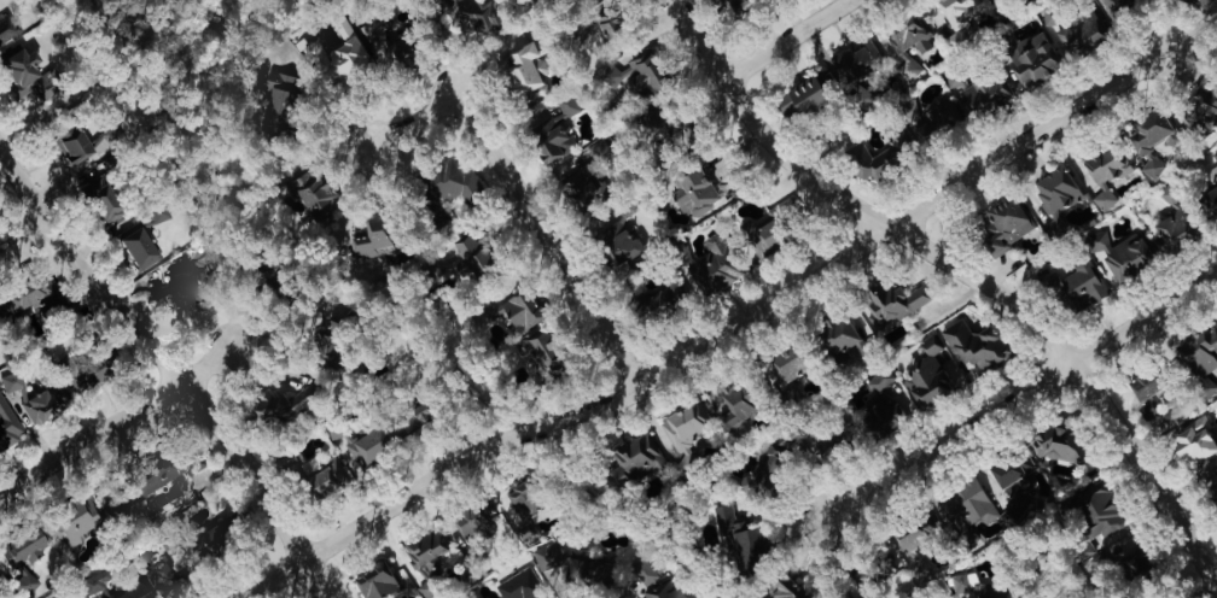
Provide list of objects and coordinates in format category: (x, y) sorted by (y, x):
building: (733, 2)
building: (1201, 2)
building: (1116, 5)
building: (468, 13)
building: (956, 18)
building: (604, 23)
building: (1079, 33)
building: (909, 35)
building: (383, 39)
road: (784, 39)
building: (334, 52)
building: (856, 57)
building: (1033, 59)
building: (524, 69)
building: (19, 71)
building: (991, 94)
building: (800, 95)
building: (279, 98)
building: (567, 104)
building: (1199, 109)
building: (931, 116)
road: (409, 123)
building: (1147, 130)
building: (552, 143)
building: (70, 145)
building: (1215, 153)
building: (863, 157)
building: (1105, 171)
building: (450, 182)
building: (580, 184)
building: (1206, 189)
building: (694, 190)
building: (99, 201)
building: (325, 212)
building: (1058, 221)
building: (1006, 223)
road: (19, 229)
building: (1171, 230)
building: (768, 236)
building: (372, 238)
road: (547, 240)
building: (619, 242)
building: (136, 248)
building: (1120, 253)
building: (460, 257)
building: (711, 268)
road: (963, 274)
building: (1077, 285)
building: (21, 292)
building: (173, 293)
building: (892, 301)
building: (518, 311)
building: (1, 316)
building: (835, 335)
road: (714, 336)
building: (974, 344)
building: (540, 353)
building: (1203, 354)
building: (786, 363)
building: (85, 367)
road: (170, 369)
building: (933, 375)
building: (881, 377)
building: (1143, 385)
road: (1018, 397)
building: (42, 404)
building: (727, 405)
building: (268, 406)
building: (880, 412)
road: (115, 423)
building: (8, 424)
building: (682, 430)
building: (1194, 441)
building: (369, 444)
building: (1055, 444)
building: (634, 461)
building: (158, 471)
building: (325, 479)
building: (1017, 479)
building: (1216, 494)
building: (967, 502)
building: (523, 506)
building: (1099, 514)
building: (473, 516)
building: (74, 520)
building: (904, 530)
building: (738, 533)
building: (211, 541)
building: (22, 546)
building: (426, 549)
building: (1126, 557)
building: (607, 569)
building: (162, 574)
building: (0, 575)
building: (375, 580)
building: (962, 581)
building: (94, 582)
building: (28, 585)
building: (520, 585)
building: (781, 586)
building: (988, 591)

